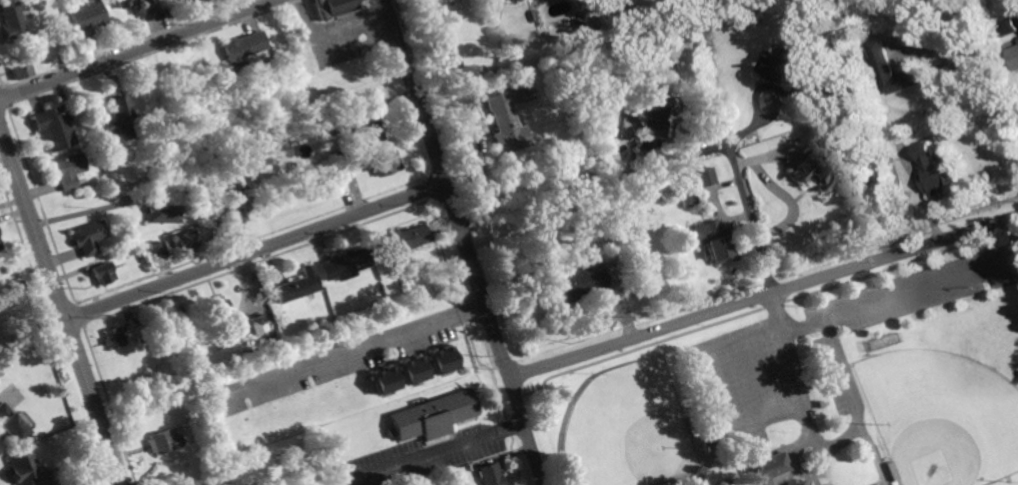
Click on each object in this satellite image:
building: (148, 6)
building: (331, 7)
building: (85, 18)
building: (13, 20)
building: (585, 23)
building: (1008, 25)
road: (331, 26)
building: (63, 46)
building: (243, 47)
road: (137, 49)
building: (1014, 56)
building: (456, 64)
building: (784, 64)
building: (22, 68)
building: (895, 71)
road: (753, 89)
road: (991, 92)
building: (652, 109)
building: (113, 118)
building: (504, 125)
building: (326, 126)
building: (54, 129)
building: (367, 133)
road: (479, 145)
road: (5, 155)
building: (382, 163)
building: (821, 168)
building: (934, 170)
building: (68, 171)
road: (733, 171)
building: (707, 176)
building: (327, 185)
road: (446, 188)
building: (688, 201)
building: (236, 203)
building: (162, 210)
building: (602, 221)
road: (1014, 234)
building: (87, 237)
building: (402, 239)
building: (186, 241)
building: (715, 242)
building: (0, 244)
building: (0, 248)
road: (255, 250)
building: (154, 256)
building: (344, 264)
building: (102, 273)
building: (578, 282)
building: (297, 286)
road: (763, 294)
road: (899, 294)
road: (60, 303)
parking lot: (900, 307)
building: (218, 310)
building: (256, 323)
building: (113, 338)
building: (141, 338)
road: (349, 348)
building: (254, 350)
building: (444, 360)
road: (791, 366)
building: (414, 370)
building: (386, 378)
parking lot: (749, 381)
park: (813, 389)
road: (849, 391)
road: (722, 411)
building: (432, 415)
park: (942, 416)
building: (10, 425)
building: (692, 427)
park: (628, 428)
road: (527, 430)
building: (164, 442)
road: (436, 451)
road: (824, 456)
building: (763, 466)
building: (22, 467)
building: (699, 469)
building: (891, 469)
building: (490, 475)
building: (723, 483)
building: (201, 484)
building: (667, 484)

